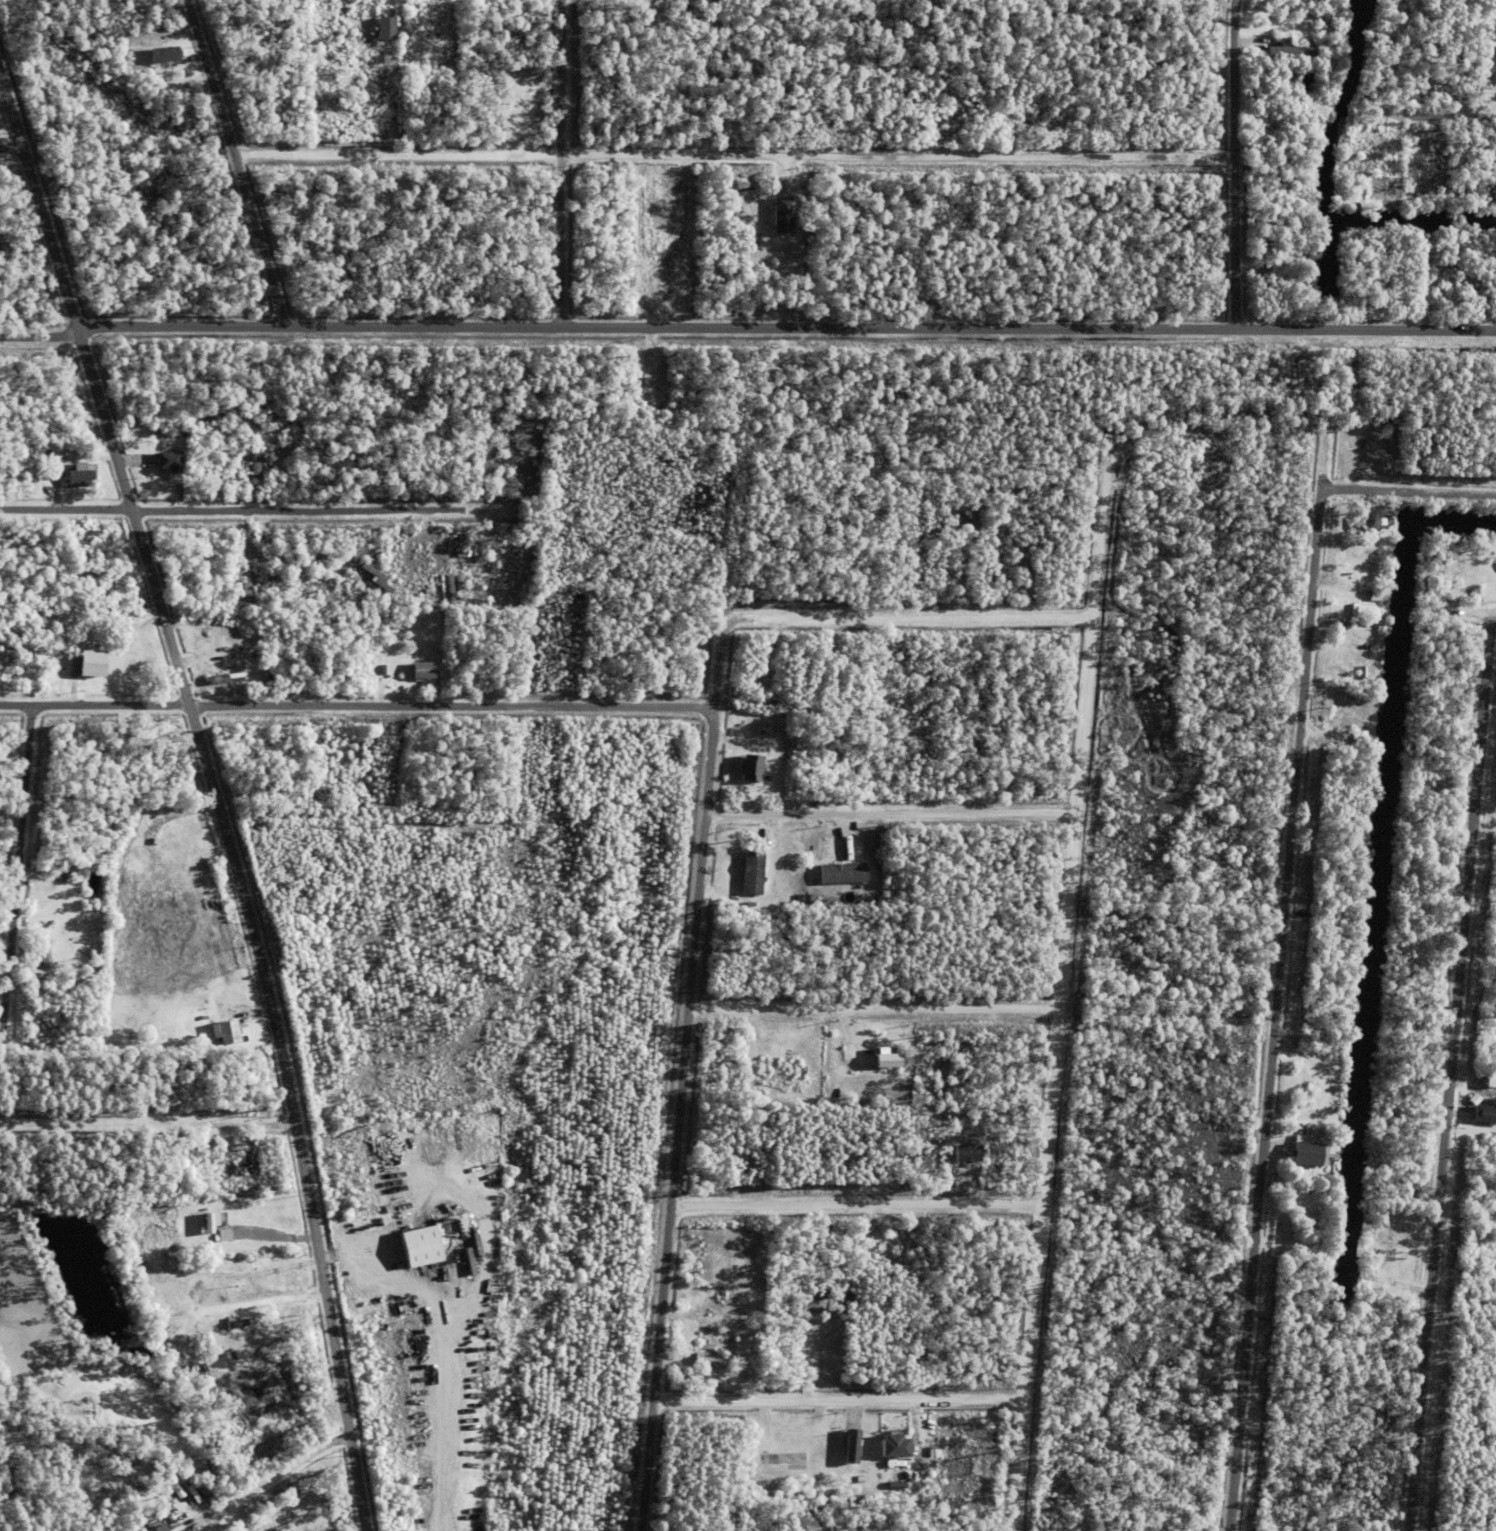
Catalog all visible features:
building: (422, 16)
building: (385, 30)
building: (1288, 51)
building: (164, 57)
building: (378, 61)
road: (1491, 90)
building: (389, 94)
building: (106, 108)
building: (942, 109)
road: (1413, 117)
road: (7, 146)
road: (727, 158)
road: (556, 163)
road: (230, 164)
road: (1227, 164)
building: (1385, 192)
building: (1354, 208)
building: (782, 218)
building: (1476, 275)
building: (1442, 280)
building: (1459, 298)
building: (1439, 301)
road: (783, 327)
road: (37, 339)
building: (143, 458)
building: (168, 465)
building: (241, 468)
building: (255, 473)
building: (34, 474)
building: (79, 481)
road: (1409, 494)
road: (232, 509)
building: (1340, 517)
building: (1368, 518)
road: (430, 528)
building: (997, 531)
building: (407, 532)
building: (463, 532)
building: (1354, 547)
building: (463, 556)
building: (241, 558)
building: (395, 562)
building: (257, 566)
building: (413, 570)
building: (428, 576)
building: (377, 581)
building: (224, 586)
building: (246, 589)
building: (449, 590)
building: (459, 591)
building: (1474, 591)
building: (1333, 593)
building: (1383, 594)
building: (74, 596)
building: (240, 606)
road: (1468, 611)
road: (911, 617)
building: (797, 639)
building: (816, 647)
building: (91, 669)
building: (422, 675)
building: (227, 677)
building: (1325, 690)
road: (360, 705)
road: (1089, 721)
building: (1347, 732)
building: (1360, 735)
building: (749, 763)
building: (749, 792)
road: (219, 806)
road: (894, 816)
building: (776, 841)
building: (752, 842)
building: (821, 843)
building: (820, 855)
road: (21, 866)
building: (752, 870)
building: (842, 870)
building: (44, 954)
road: (1280, 974)
road: (695, 975)
road: (1093, 982)
road: (1064, 996)
road: (877, 1010)
building: (229, 1014)
building: (228, 1030)
building: (749, 1053)
building: (880, 1056)
building: (812, 1058)
building: (889, 1061)
road: (1450, 1072)
building: (1490, 1078)
building: (166, 1090)
building: (1485, 1108)
road: (149, 1121)
building: (92, 1122)
building: (211, 1142)
building: (1307, 1149)
building: (968, 1151)
building: (243, 1164)
building: (752, 1167)
road: (862, 1205)
building: (210, 1220)
building: (218, 1223)
building: (368, 1225)
building: (224, 1234)
building: (419, 1244)
building: (1386, 1269)
road: (1042, 1270)
building: (251, 1273)
building: (230, 1274)
building: (208, 1275)
building: (172, 1293)
building: (690, 1294)
building: (701, 1297)
building: (693, 1310)
building: (237, 1323)
building: (204, 1340)
building: (708, 1360)
building: (1163, 1366)
building: (185, 1387)
road: (841, 1421)
building: (819, 1439)
building: (897, 1444)
building: (853, 1445)
building: (783, 1457)
road: (284, 1470)
building: (189, 1525)
building: (157, 1527)

